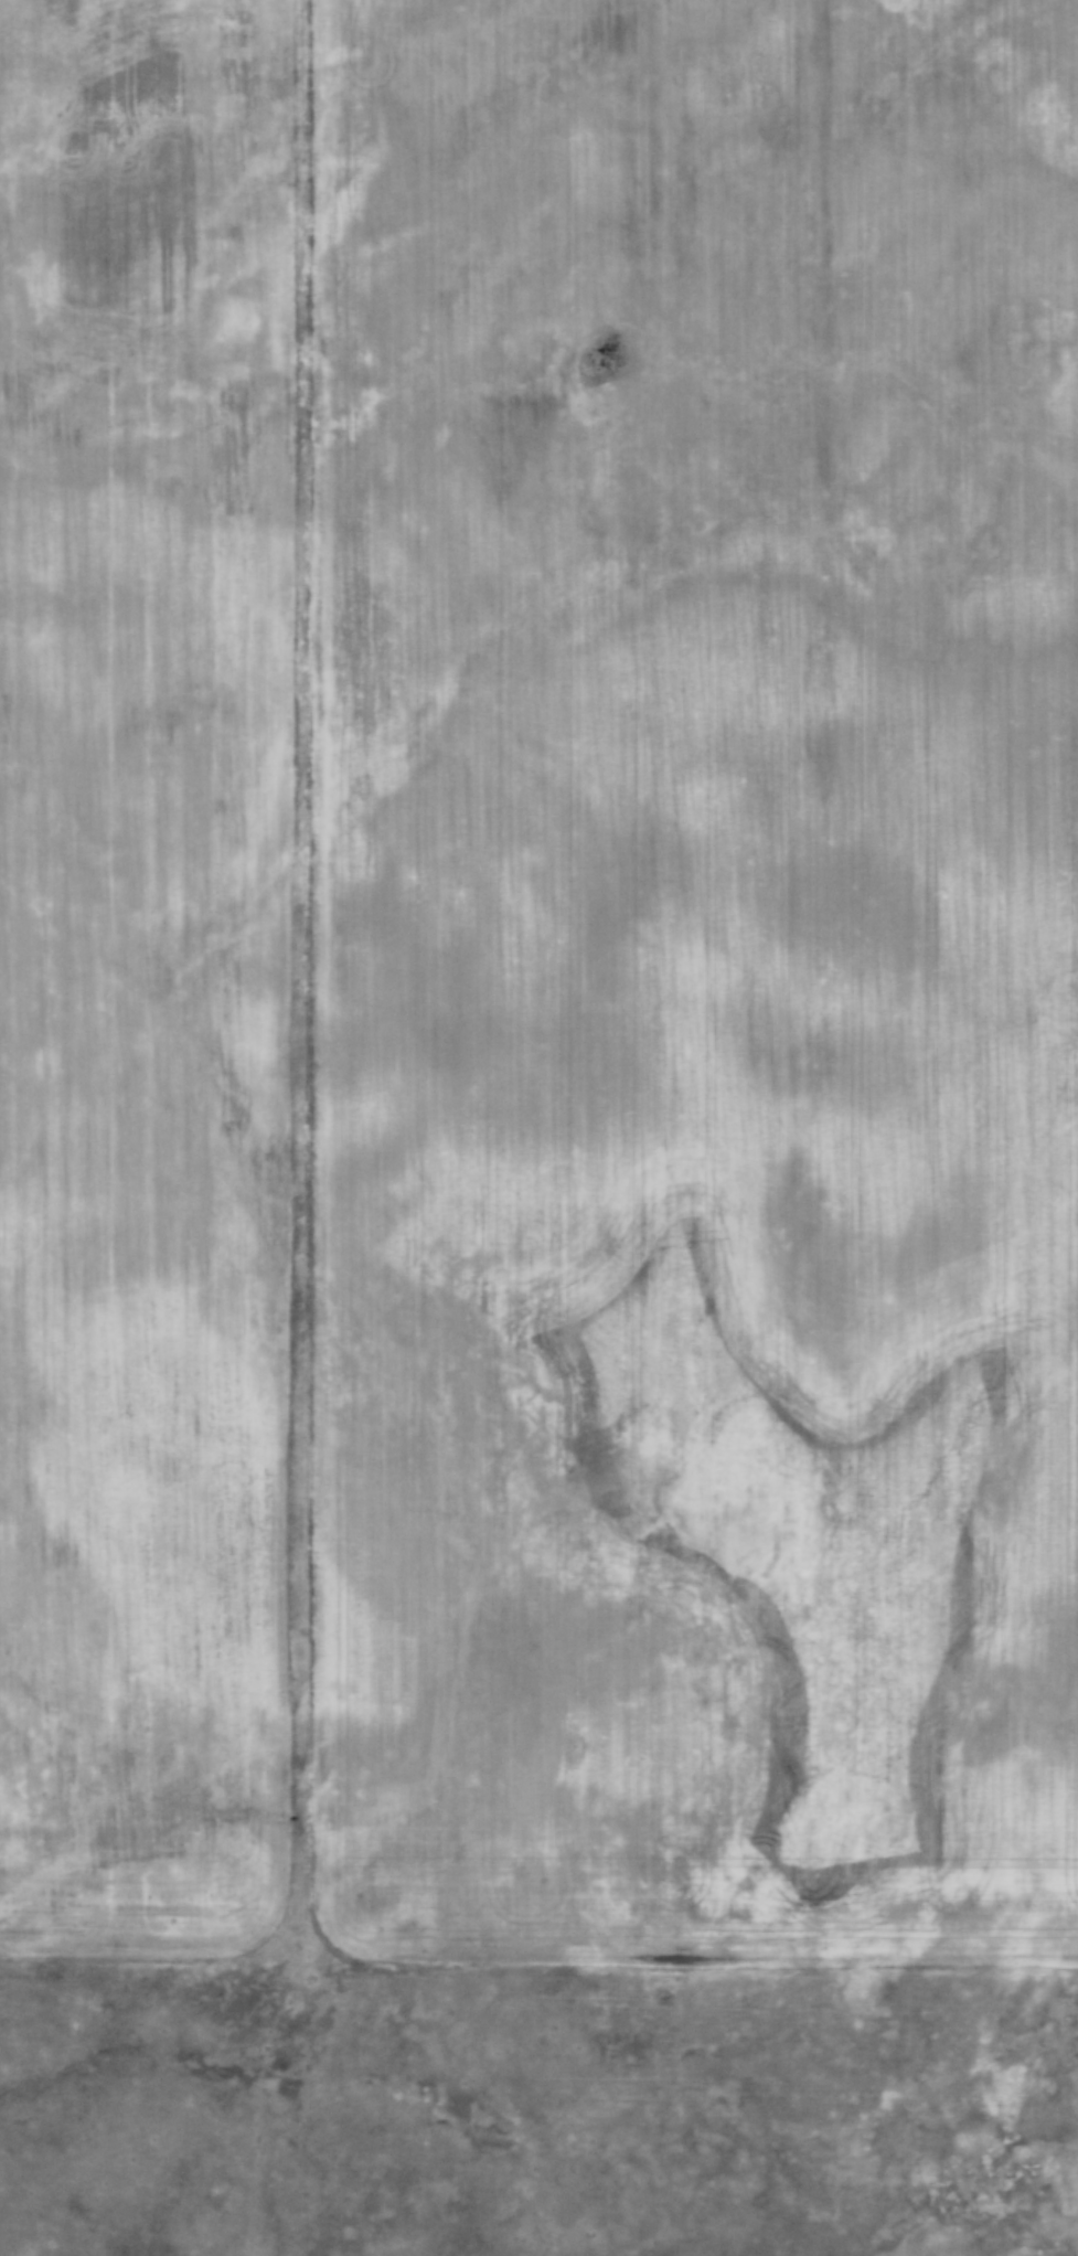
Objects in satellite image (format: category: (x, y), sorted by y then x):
road: (538, 1967)

